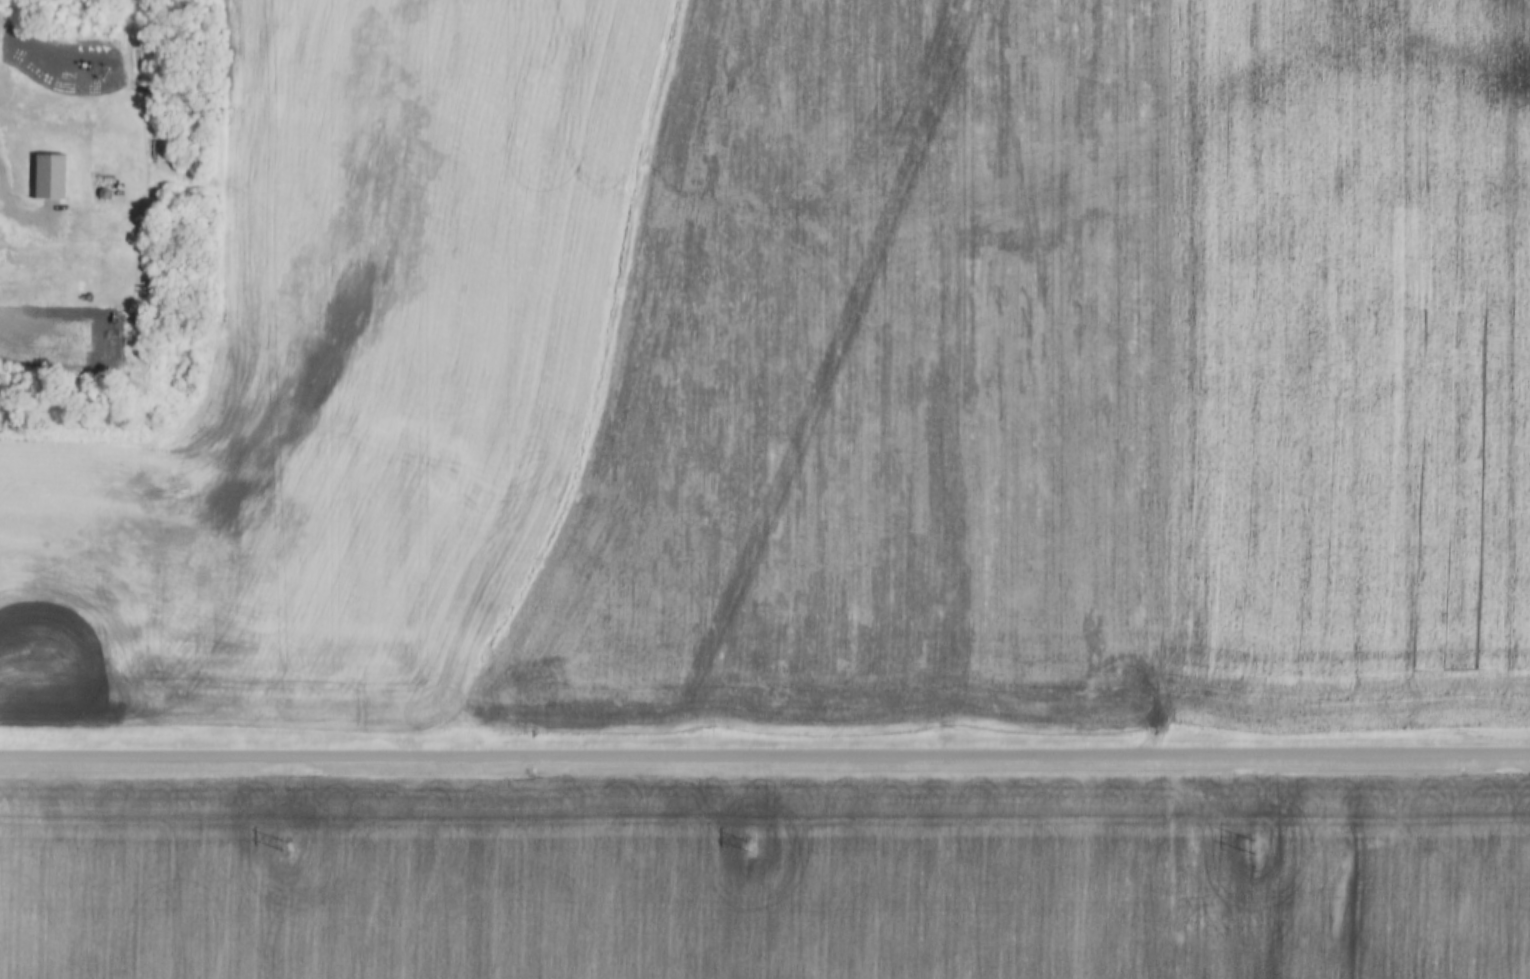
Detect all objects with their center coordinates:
building: (54, 178)
road: (11, 180)
road: (764, 759)
power tower: (747, 846)
power tower: (1243, 846)
power tower: (283, 847)

